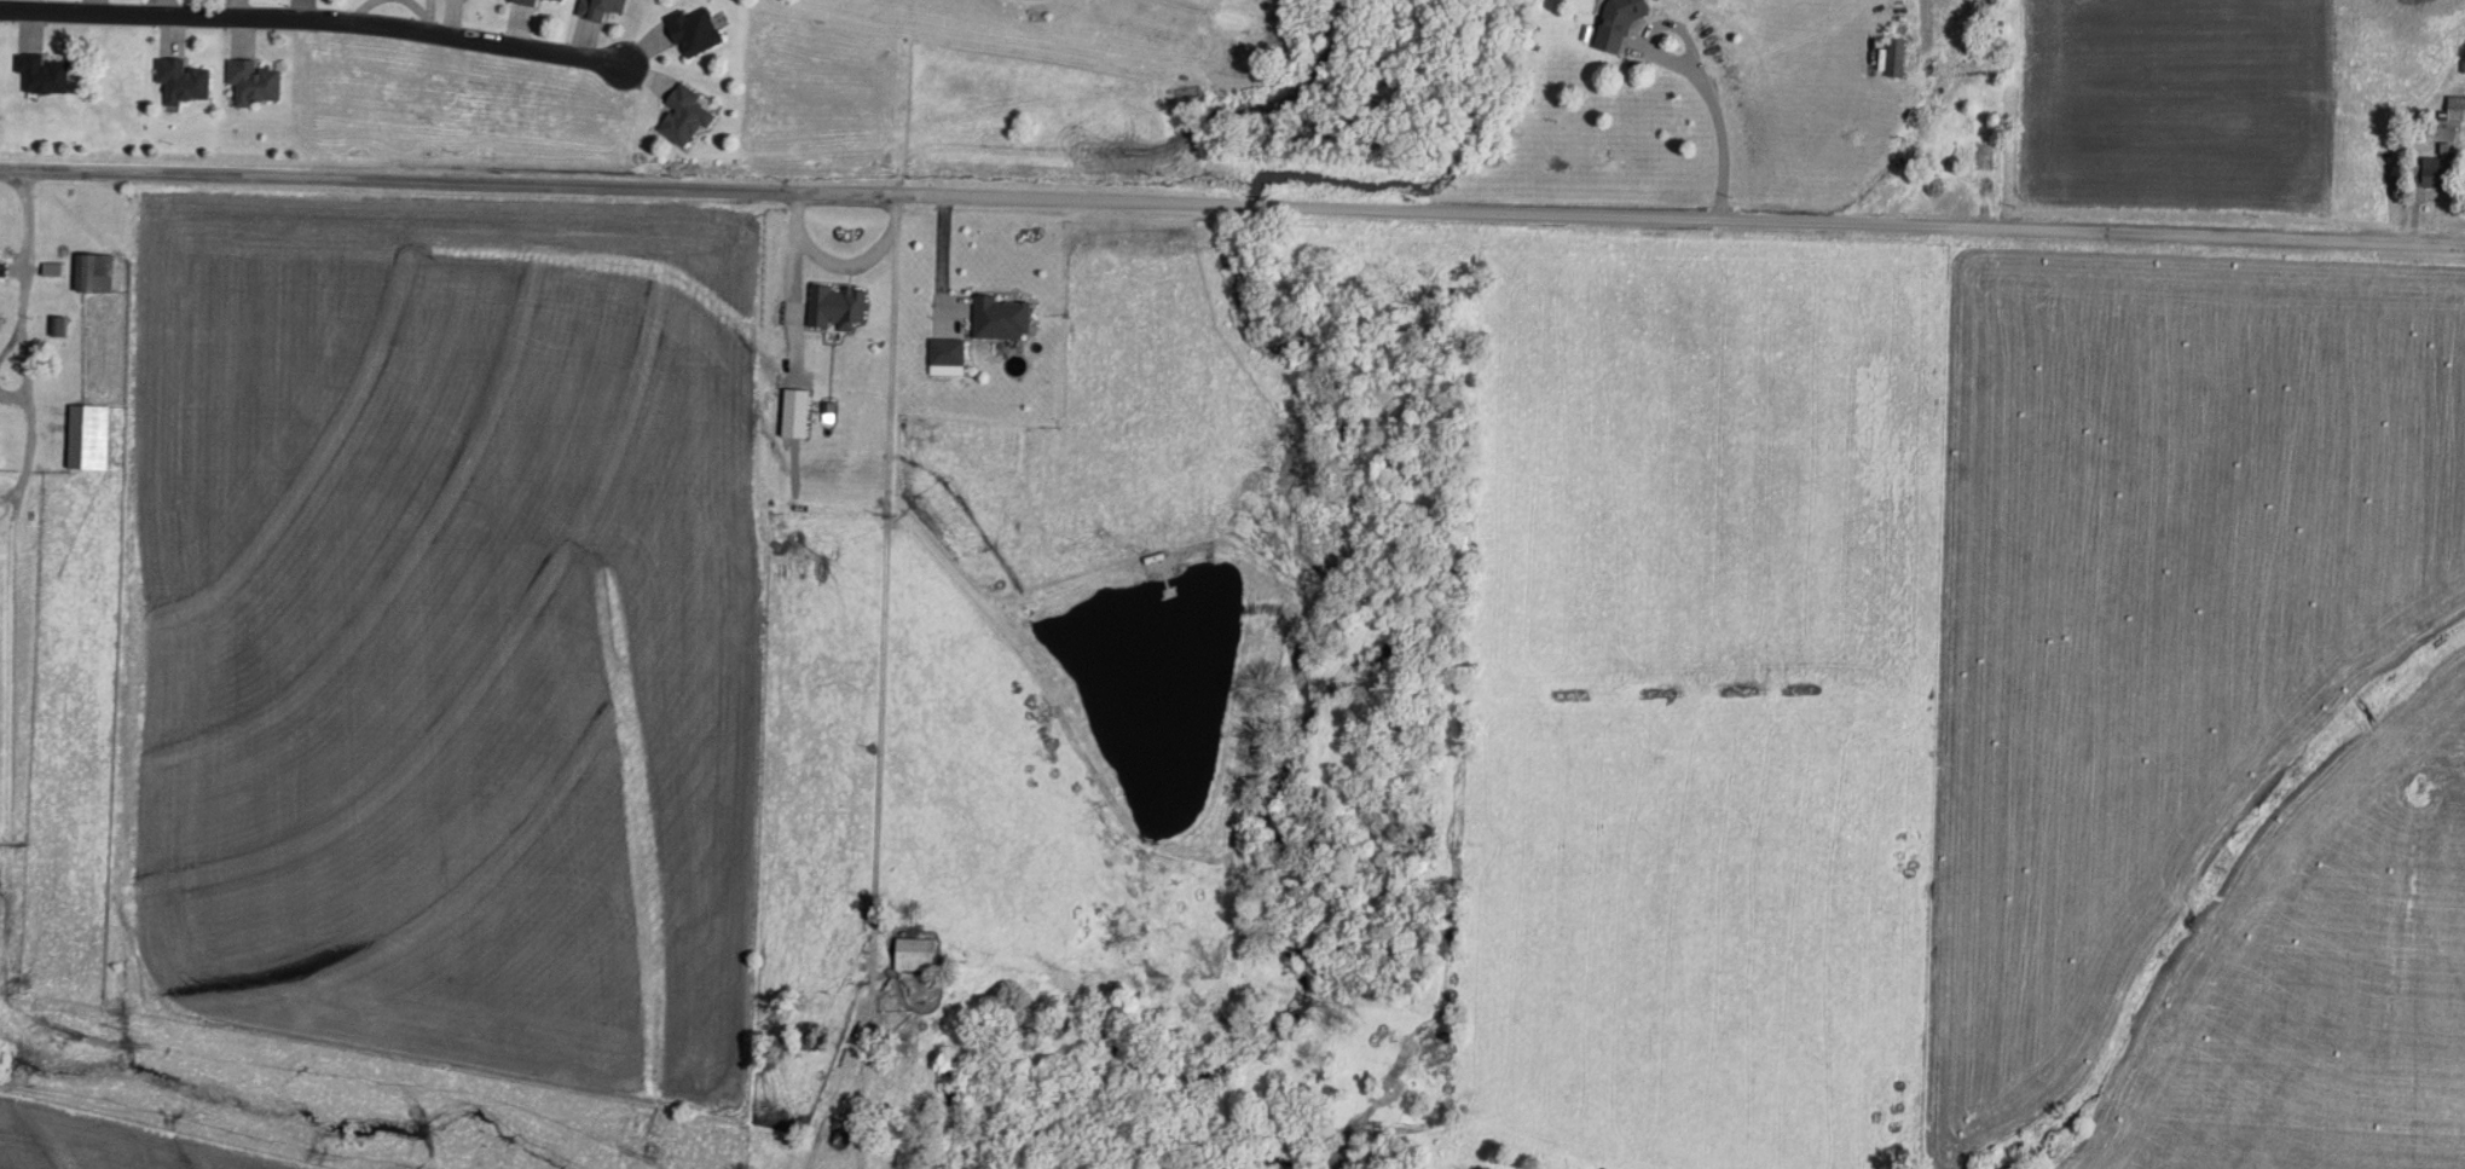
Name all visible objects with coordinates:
building: (561, 0)
building: (526, 1)
building: (601, 8)
building: (1616, 22)
road: (311, 30)
building: (694, 31)
building: (1896, 57)
building: (42, 73)
building: (183, 81)
building: (254, 83)
park: (1014, 91)
building: (2455, 109)
crop: (2176, 112)
building: (684, 115)
building: (2436, 172)
road: (1232, 226)
building: (93, 272)
building: (835, 306)
building: (1001, 317)
building: (58, 326)
building: (947, 352)
building: (68, 358)
building: (795, 413)
building: (88, 436)
crop: (452, 636)
crop: (2201, 711)
building: (914, 955)
crop: (110, 1147)

